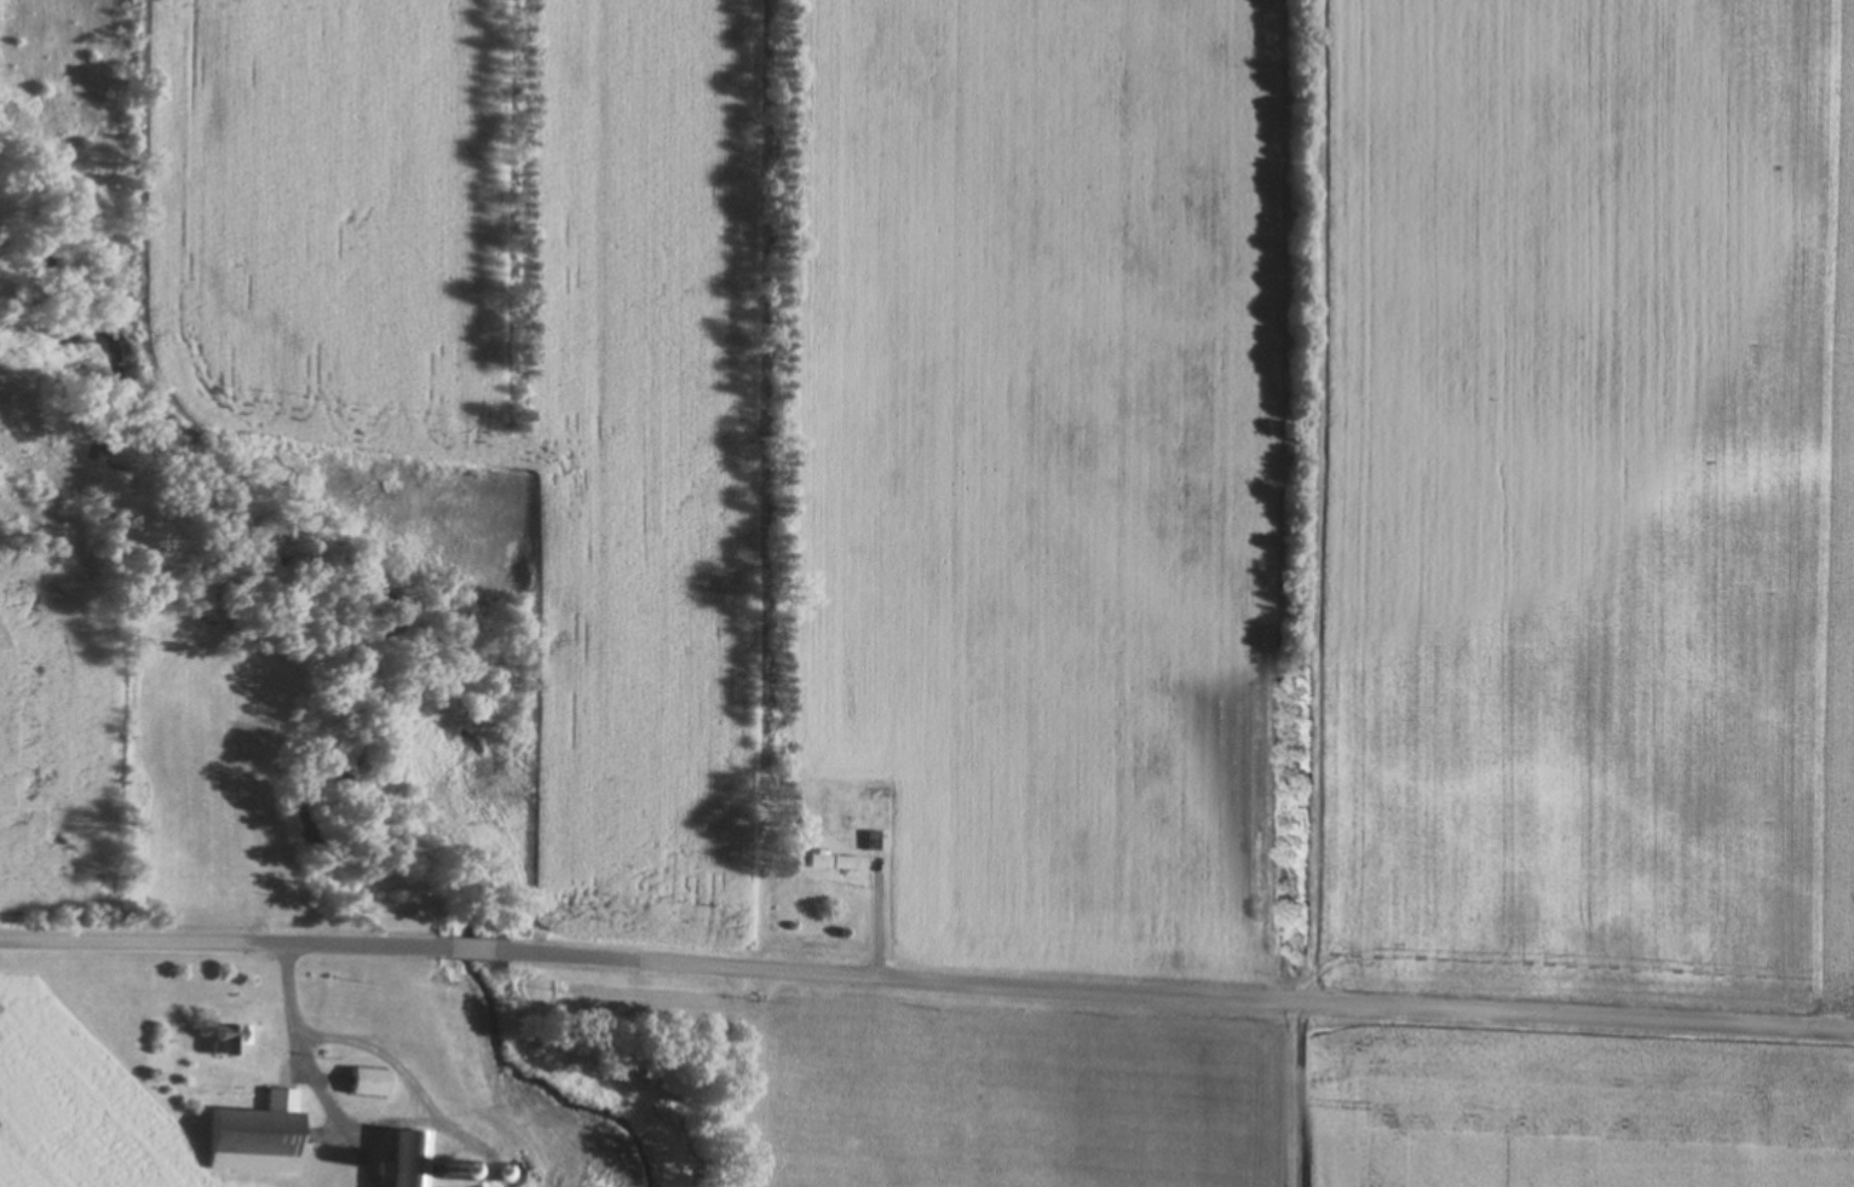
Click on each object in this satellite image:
building: (879, 841)
building: (839, 862)
road: (217, 940)
road: (466, 943)
road: (1176, 984)
building: (234, 1038)
building: (372, 1081)
road: (1295, 1088)
building: (260, 1135)
building: (414, 1160)
building: (486, 1186)

